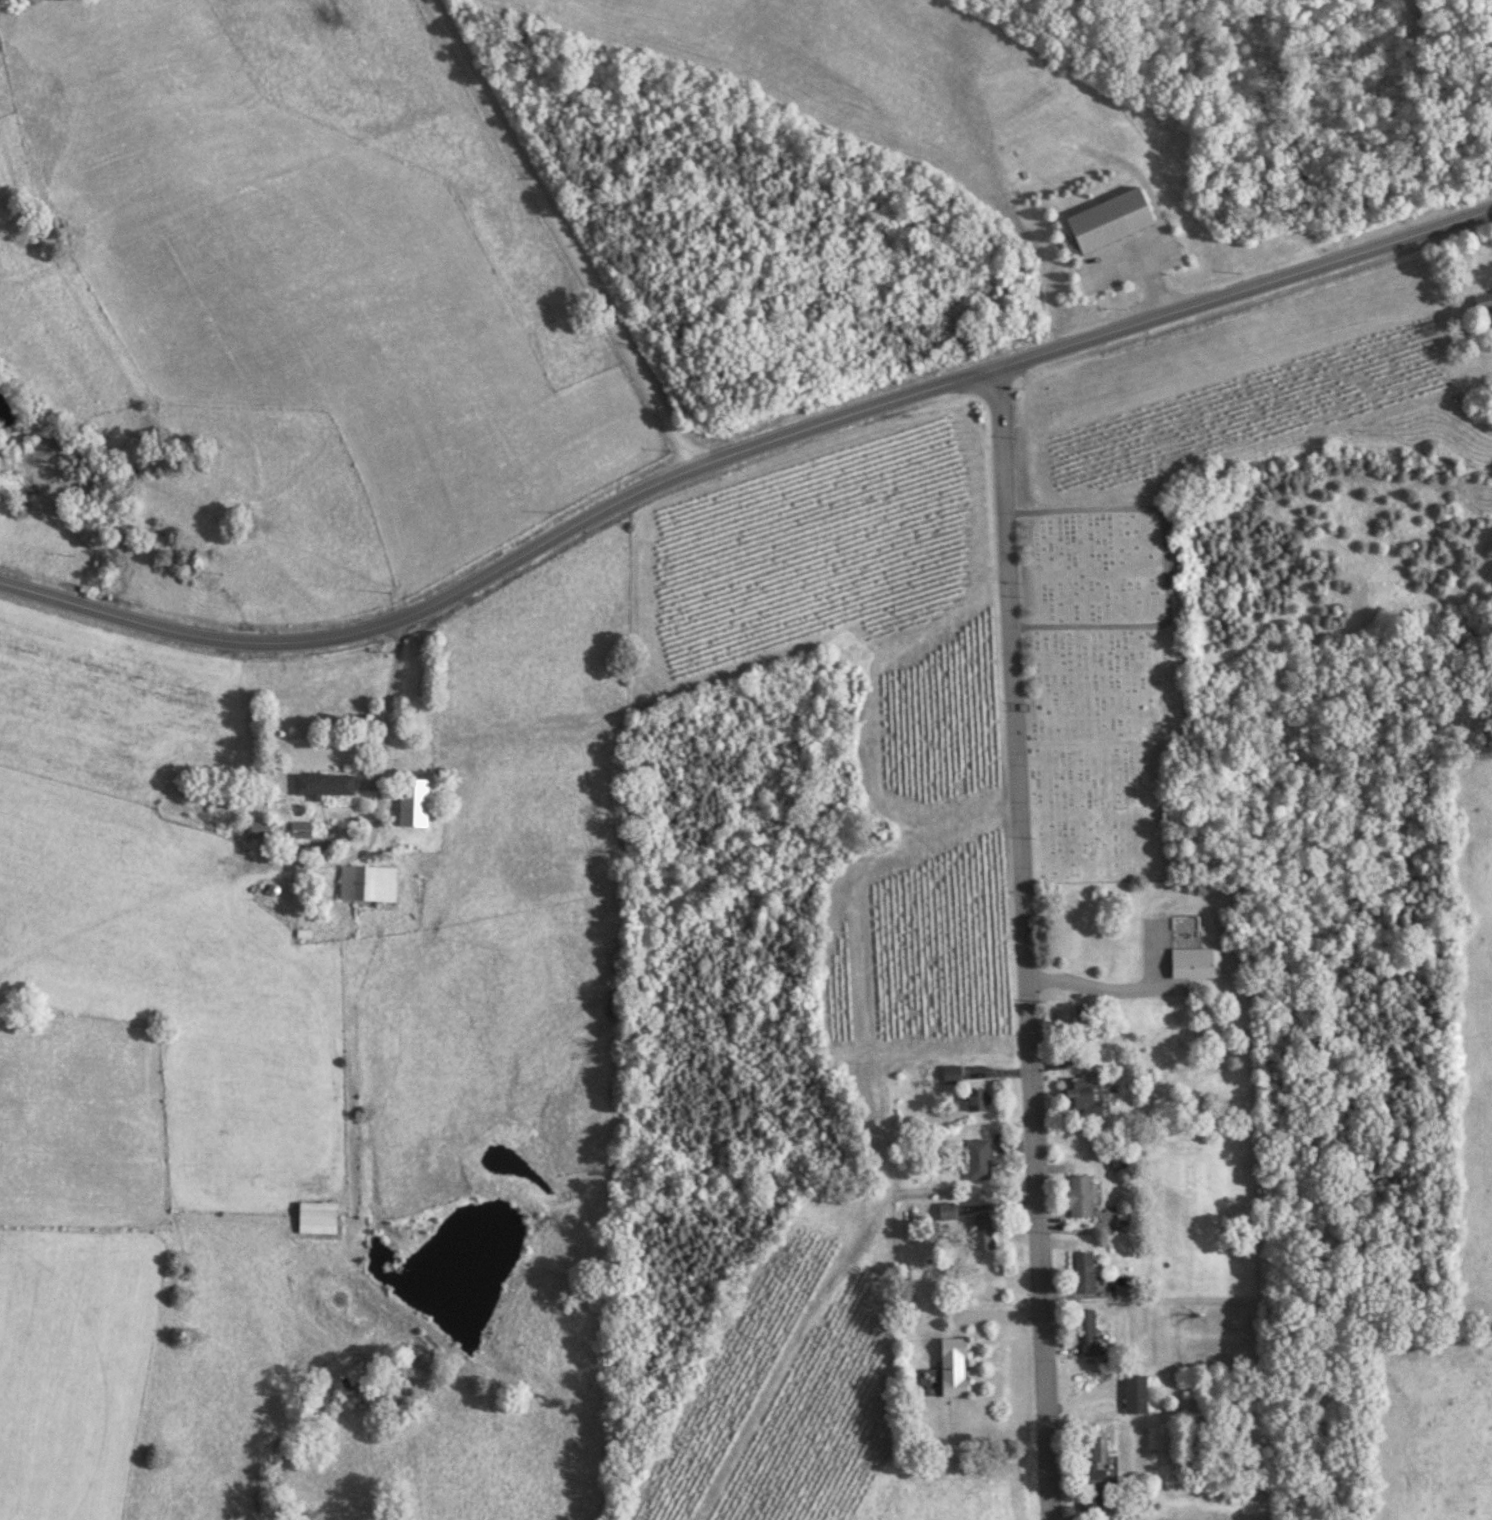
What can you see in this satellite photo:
building: (1109, 217)
road: (1448, 223)
road: (560, 233)
building: (1483, 303)
road: (1169, 312)
road: (478, 579)
park: (1100, 683)
road: (1012, 722)
building: (321, 783)
building: (410, 802)
road: (373, 806)
building: (257, 829)
building: (298, 829)
building: (316, 846)
building: (365, 883)
building: (1193, 963)
road: (1123, 988)
building: (950, 1074)
building: (1081, 1096)
building: (975, 1099)
building: (976, 1159)
building: (1077, 1196)
building: (945, 1211)
building: (314, 1218)
building: (981, 1231)
building: (1081, 1274)
road: (1039, 1298)
building: (1085, 1331)
building: (951, 1367)
building: (1133, 1394)
building: (1089, 1458)
building: (1094, 1497)

